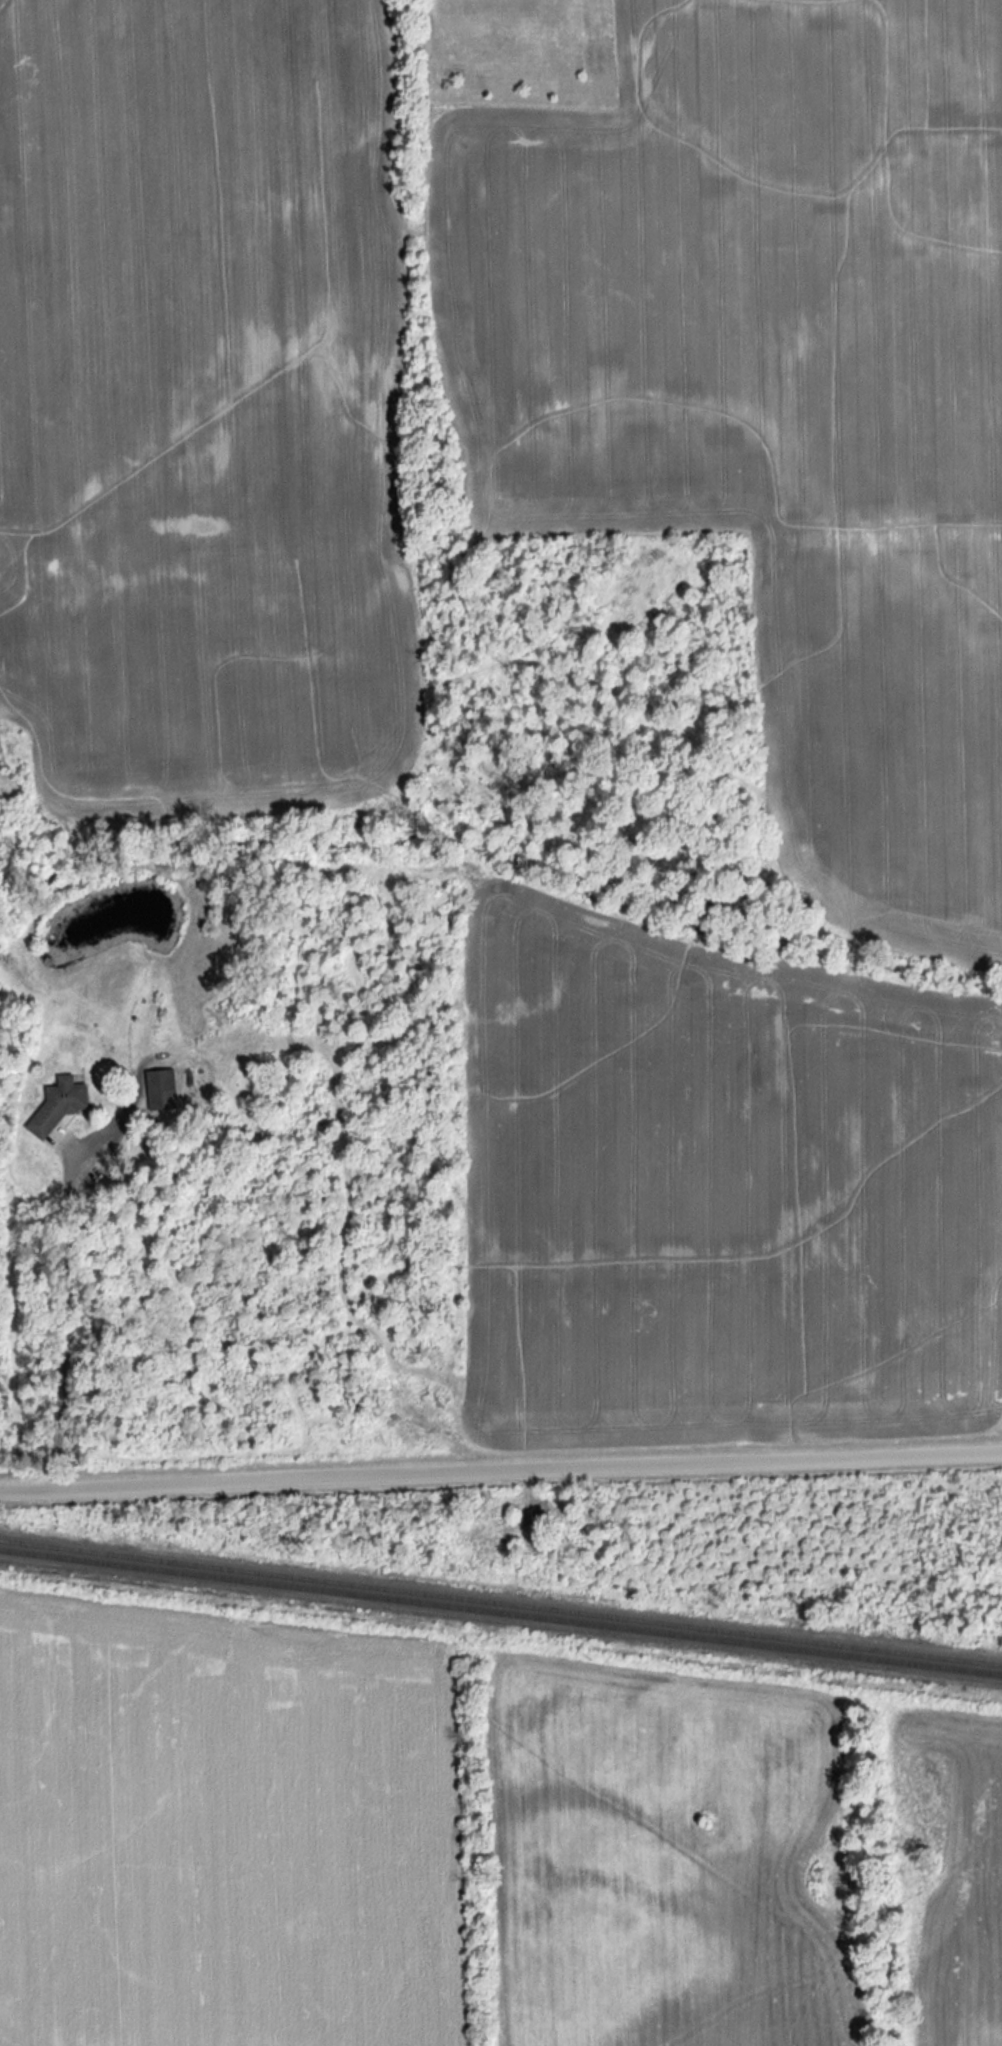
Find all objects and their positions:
building: (159, 1089)
building: (57, 1103)
road: (501, 1471)
railway: (500, 1602)
railway: (501, 1612)

